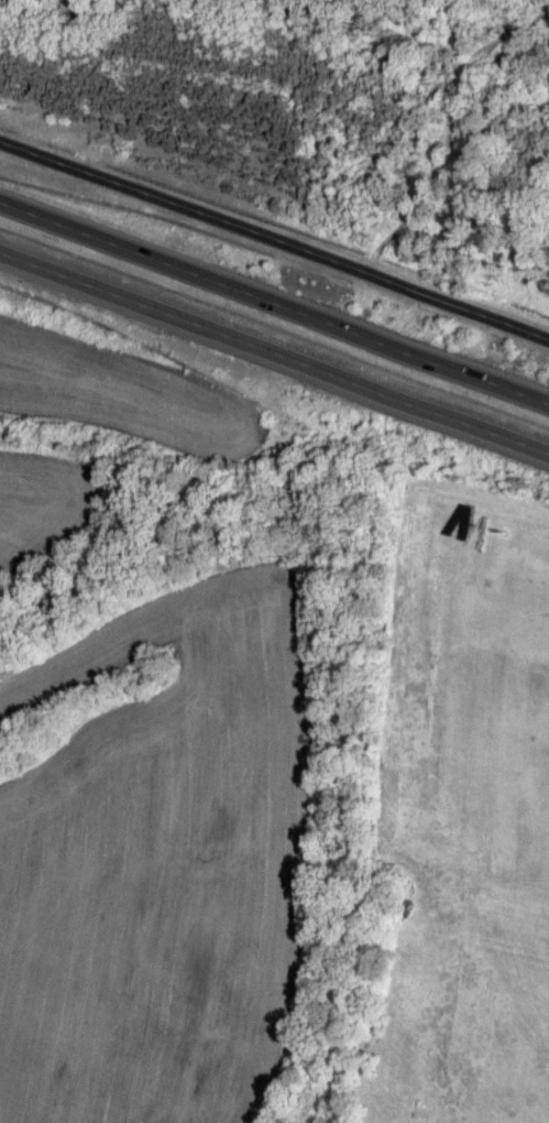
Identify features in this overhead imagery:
road: (274, 240)
road: (274, 299)
road: (274, 353)

